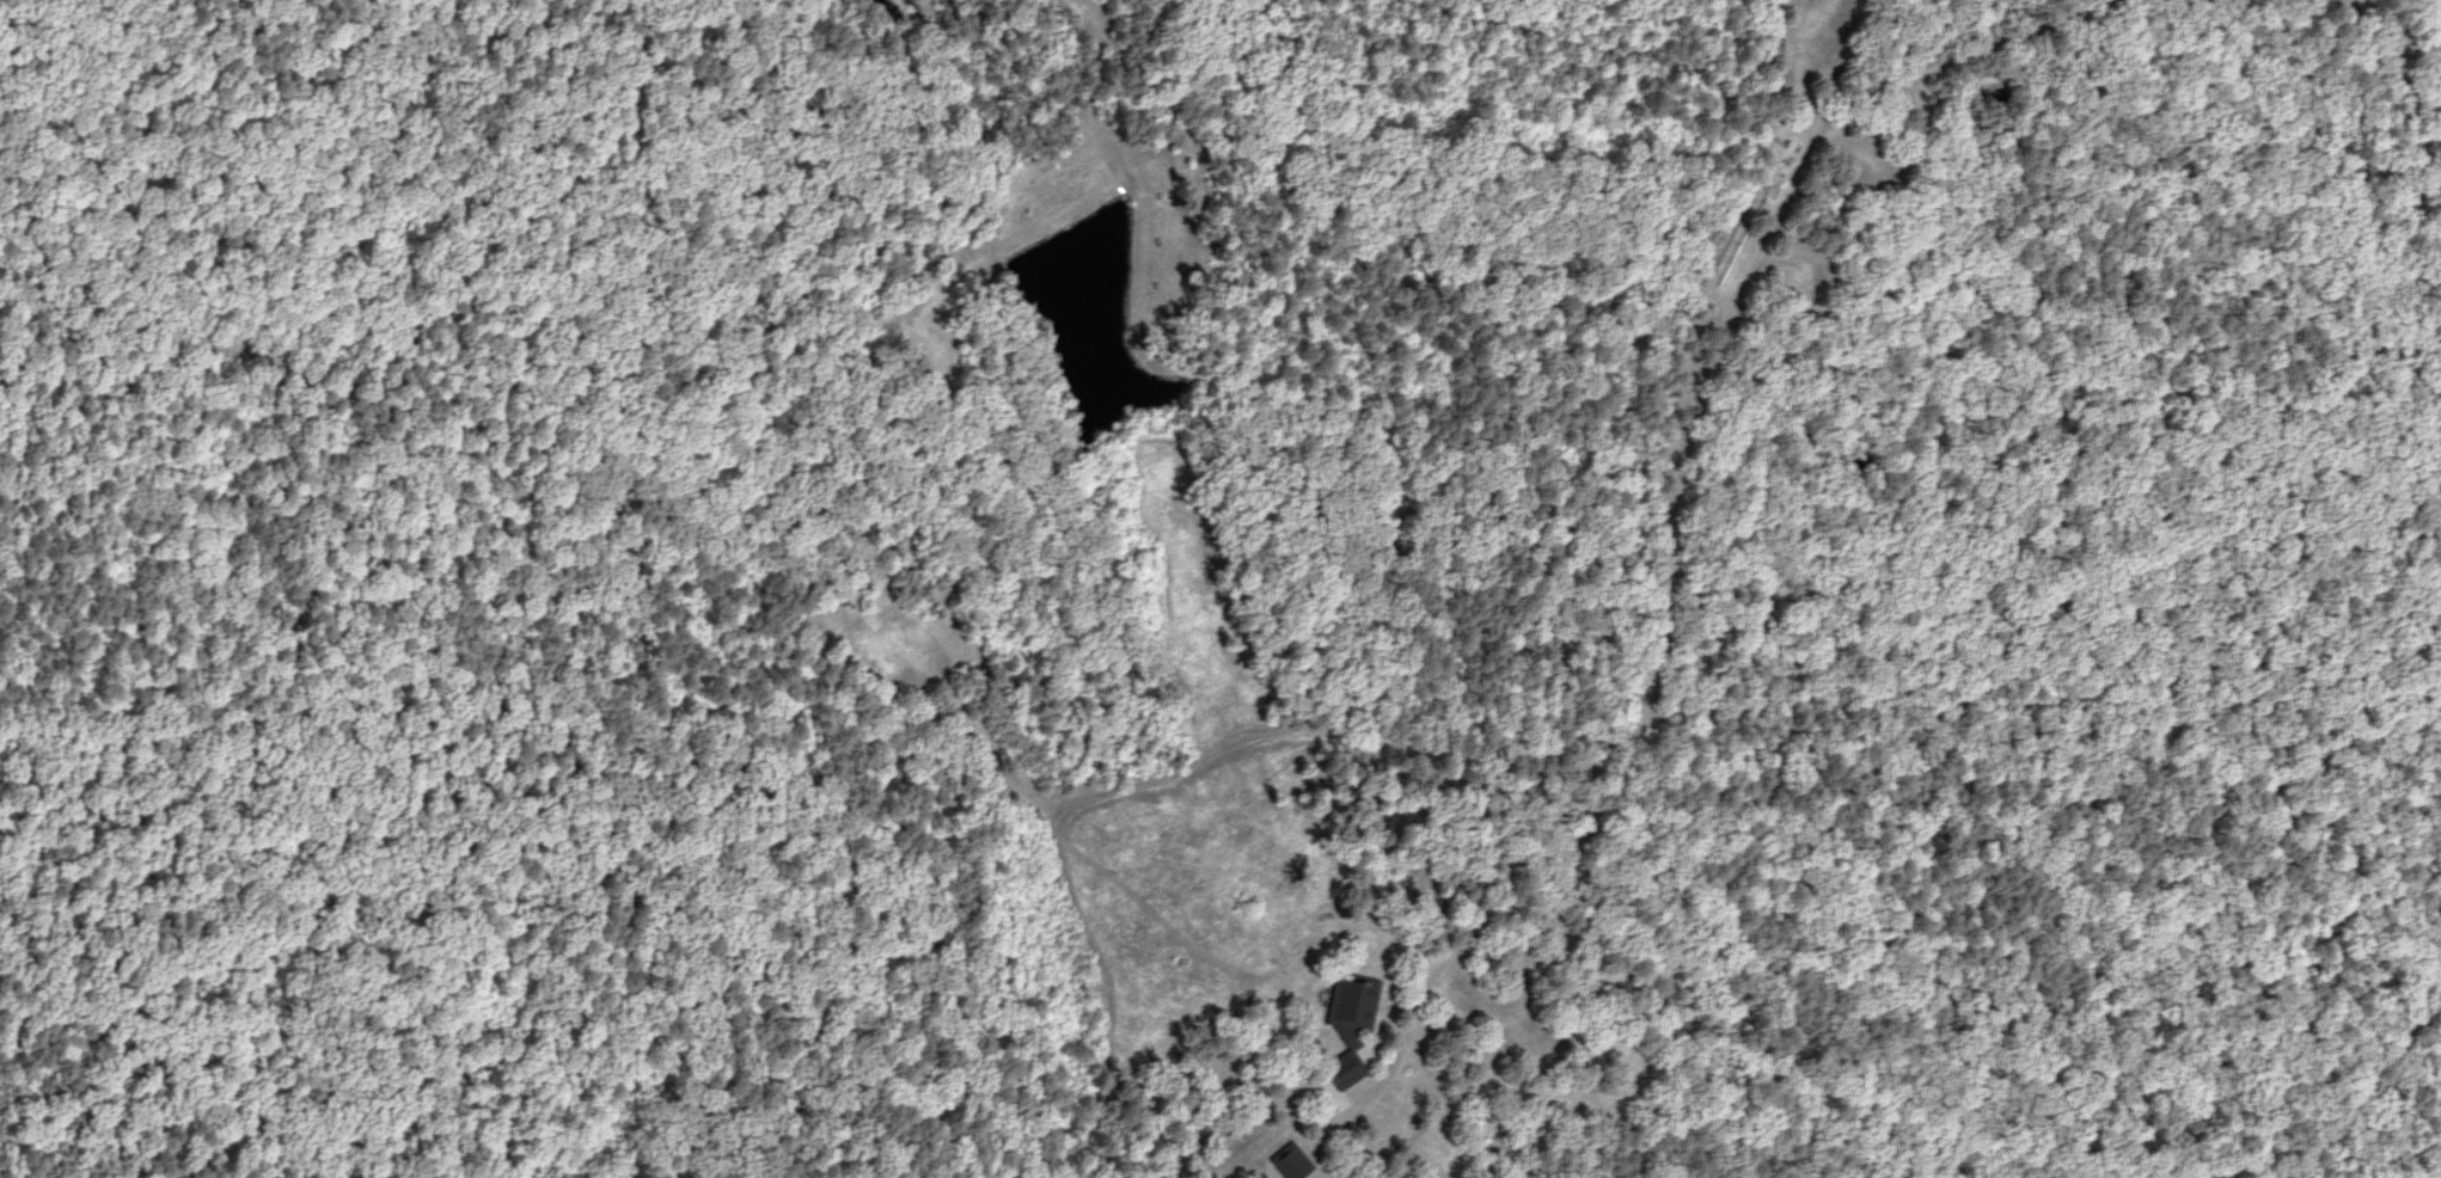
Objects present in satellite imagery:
building: (1346, 1026)
building: (1289, 1161)

